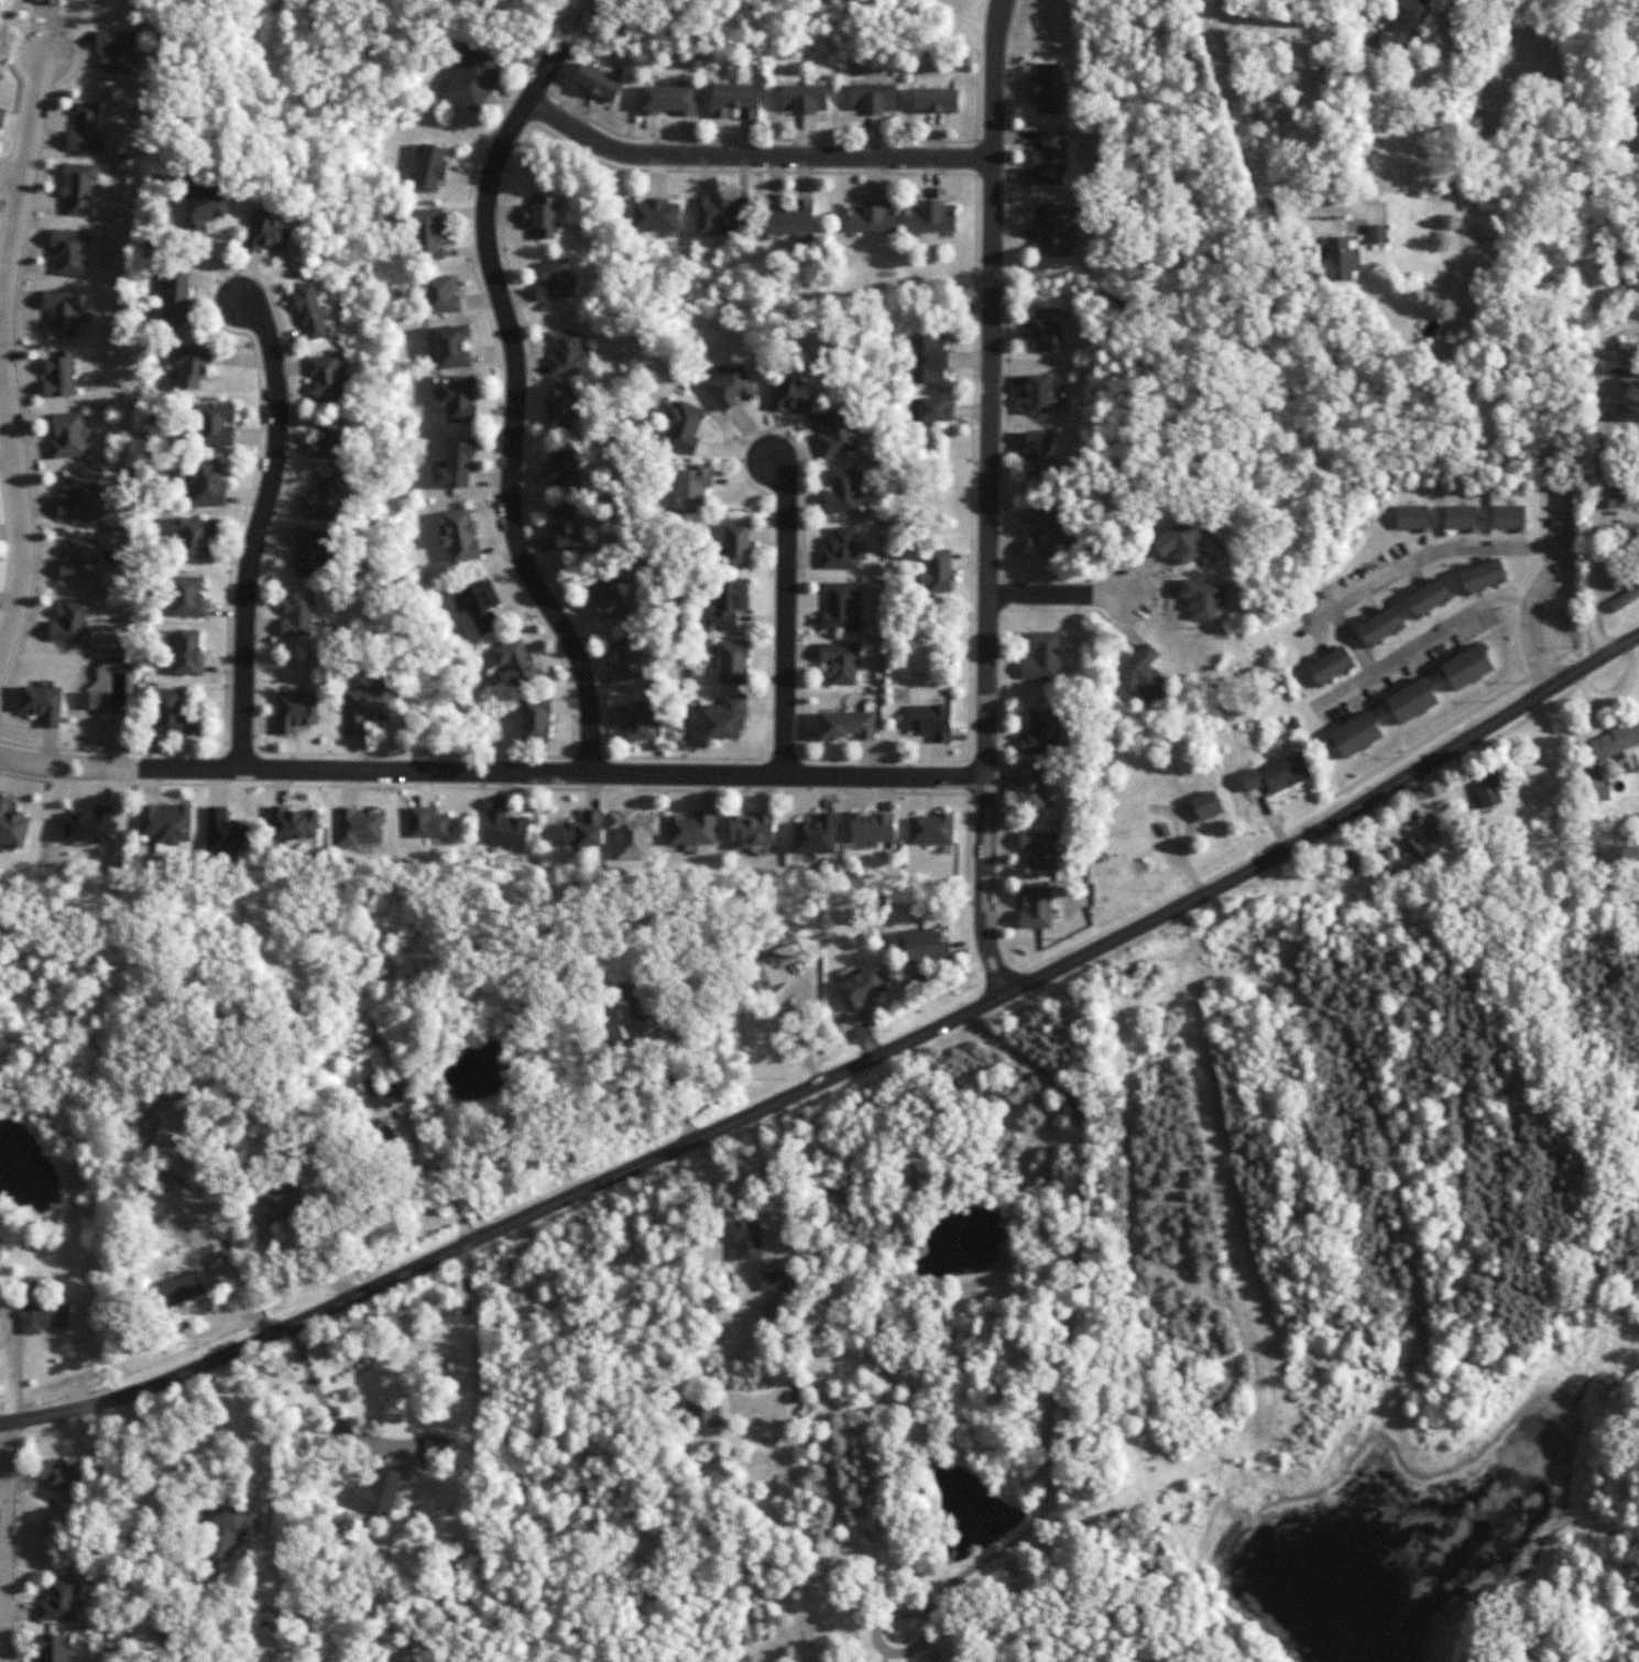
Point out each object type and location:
building: (46, 1)
road: (1362, 15)
building: (1403, 21)
building: (116, 51)
building: (473, 80)
building: (598, 81)
building: (1048, 88)
building: (802, 98)
building: (872, 98)
building: (667, 100)
building: (735, 100)
building: (935, 100)
building: (1, 117)
road: (1264, 119)
building: (85, 129)
building: (1633, 133)
building: (1049, 156)
road: (751, 157)
building: (430, 167)
road: (12, 175)
building: (78, 187)
building: (542, 216)
building: (656, 216)
building: (721, 216)
building: (788, 217)
building: (873, 217)
building: (931, 217)
building: (1052, 230)
building: (269, 233)
building: (1376, 233)
building: (428, 234)
building: (69, 252)
building: (1337, 258)
building: (555, 281)
building: (176, 293)
building: (441, 295)
building: (1625, 295)
building: (65, 311)
building: (309, 311)
building: (1047, 329)
building: (451, 347)
building: (1628, 347)
building: (568, 354)
road: (4, 356)
building: (930, 359)
building: (194, 365)
building: (61, 375)
building: (327, 379)
building: (1630, 381)
building: (731, 387)
building: (1038, 394)
building: (795, 396)
building: (459, 398)
road: (512, 402)
building: (561, 406)
building: (930, 409)
building: (1626, 415)
building: (214, 424)
building: (684, 427)
building: (69, 436)
building: (329, 440)
building: (1038, 452)
building: (455, 464)
building: (564, 468)
road: (1598, 480)
building: (207, 483)
building: (692, 488)
building: (841, 493)
road: (988, 495)
building: (326, 497)
building: (79, 499)
building: (1624, 503)
building: (1412, 517)
building: (1461, 517)
building: (1508, 517)
building: (565, 527)
road: (260, 531)
building: (1621, 531)
building: (459, 535)
building: (1041, 536)
building: (1179, 544)
building: (736, 545)
building: (841, 549)
building: (309, 551)
road: (1422, 556)
building: (80, 560)
building: (938, 570)
building: (1483, 576)
road: (1541, 591)
road: (1057, 595)
building: (189, 597)
building: (1428, 598)
building: (1624, 598)
building: (608, 599)
building: (1202, 599)
building: (729, 603)
building: (482, 605)
building: (841, 606)
building: (297, 613)
road: (783, 614)
building: (69, 622)
building: (1380, 626)
road: (1421, 641)
road: (1353, 642)
building: (187, 652)
building: (1042, 656)
building: (625, 659)
building: (732, 663)
building: (840, 663)
building: (515, 664)
building: (1330, 666)
building: (1466, 667)
building: (1144, 674)
building: (89, 700)
building: (1411, 700)
building: (43, 703)
building: (368, 704)
building: (296, 711)
building: (173, 713)
building: (724, 717)
building: (535, 720)
building: (637, 721)
building: (931, 721)
building: (848, 725)
building: (1040, 733)
building: (1356, 734)
building: (1615, 742)
road: (68, 767)
road: (564, 770)
building: (1277, 775)
building: (1031, 786)
building: (1596, 786)
building: (1487, 790)
building: (1206, 806)
building: (427, 822)
building: (165, 824)
building: (295, 824)
building: (12, 825)
building: (90, 825)
building: (359, 827)
building: (872, 828)
building: (692, 829)
building: (751, 829)
building: (930, 829)
building: (1430, 829)
building: (504, 830)
building: (584, 830)
building: (226, 832)
building: (633, 833)
building: (817, 834)
building: (1416, 848)
building: (1039, 850)
building: (1389, 861)
building: (1035, 908)
building: (926, 947)
building: (774, 965)
building: (862, 987)
road: (807, 1002)
building: (621, 1021)
road: (838, 1073)
road: (673, 1087)
building: (383, 1094)
building: (383, 1131)
road: (763, 1187)
building: (283, 1206)
building: (747, 1240)
building: (774, 1280)
building: (182, 1289)
building: (42, 1313)
road: (1053, 1392)
road: (362, 1411)
building: (702, 1412)
building: (433, 1448)
building: (62, 1473)
building: (376, 1491)
road: (129, 1531)
building: (226, 1533)
road: (6, 1541)
building: (59, 1601)
building: (54, 1648)

